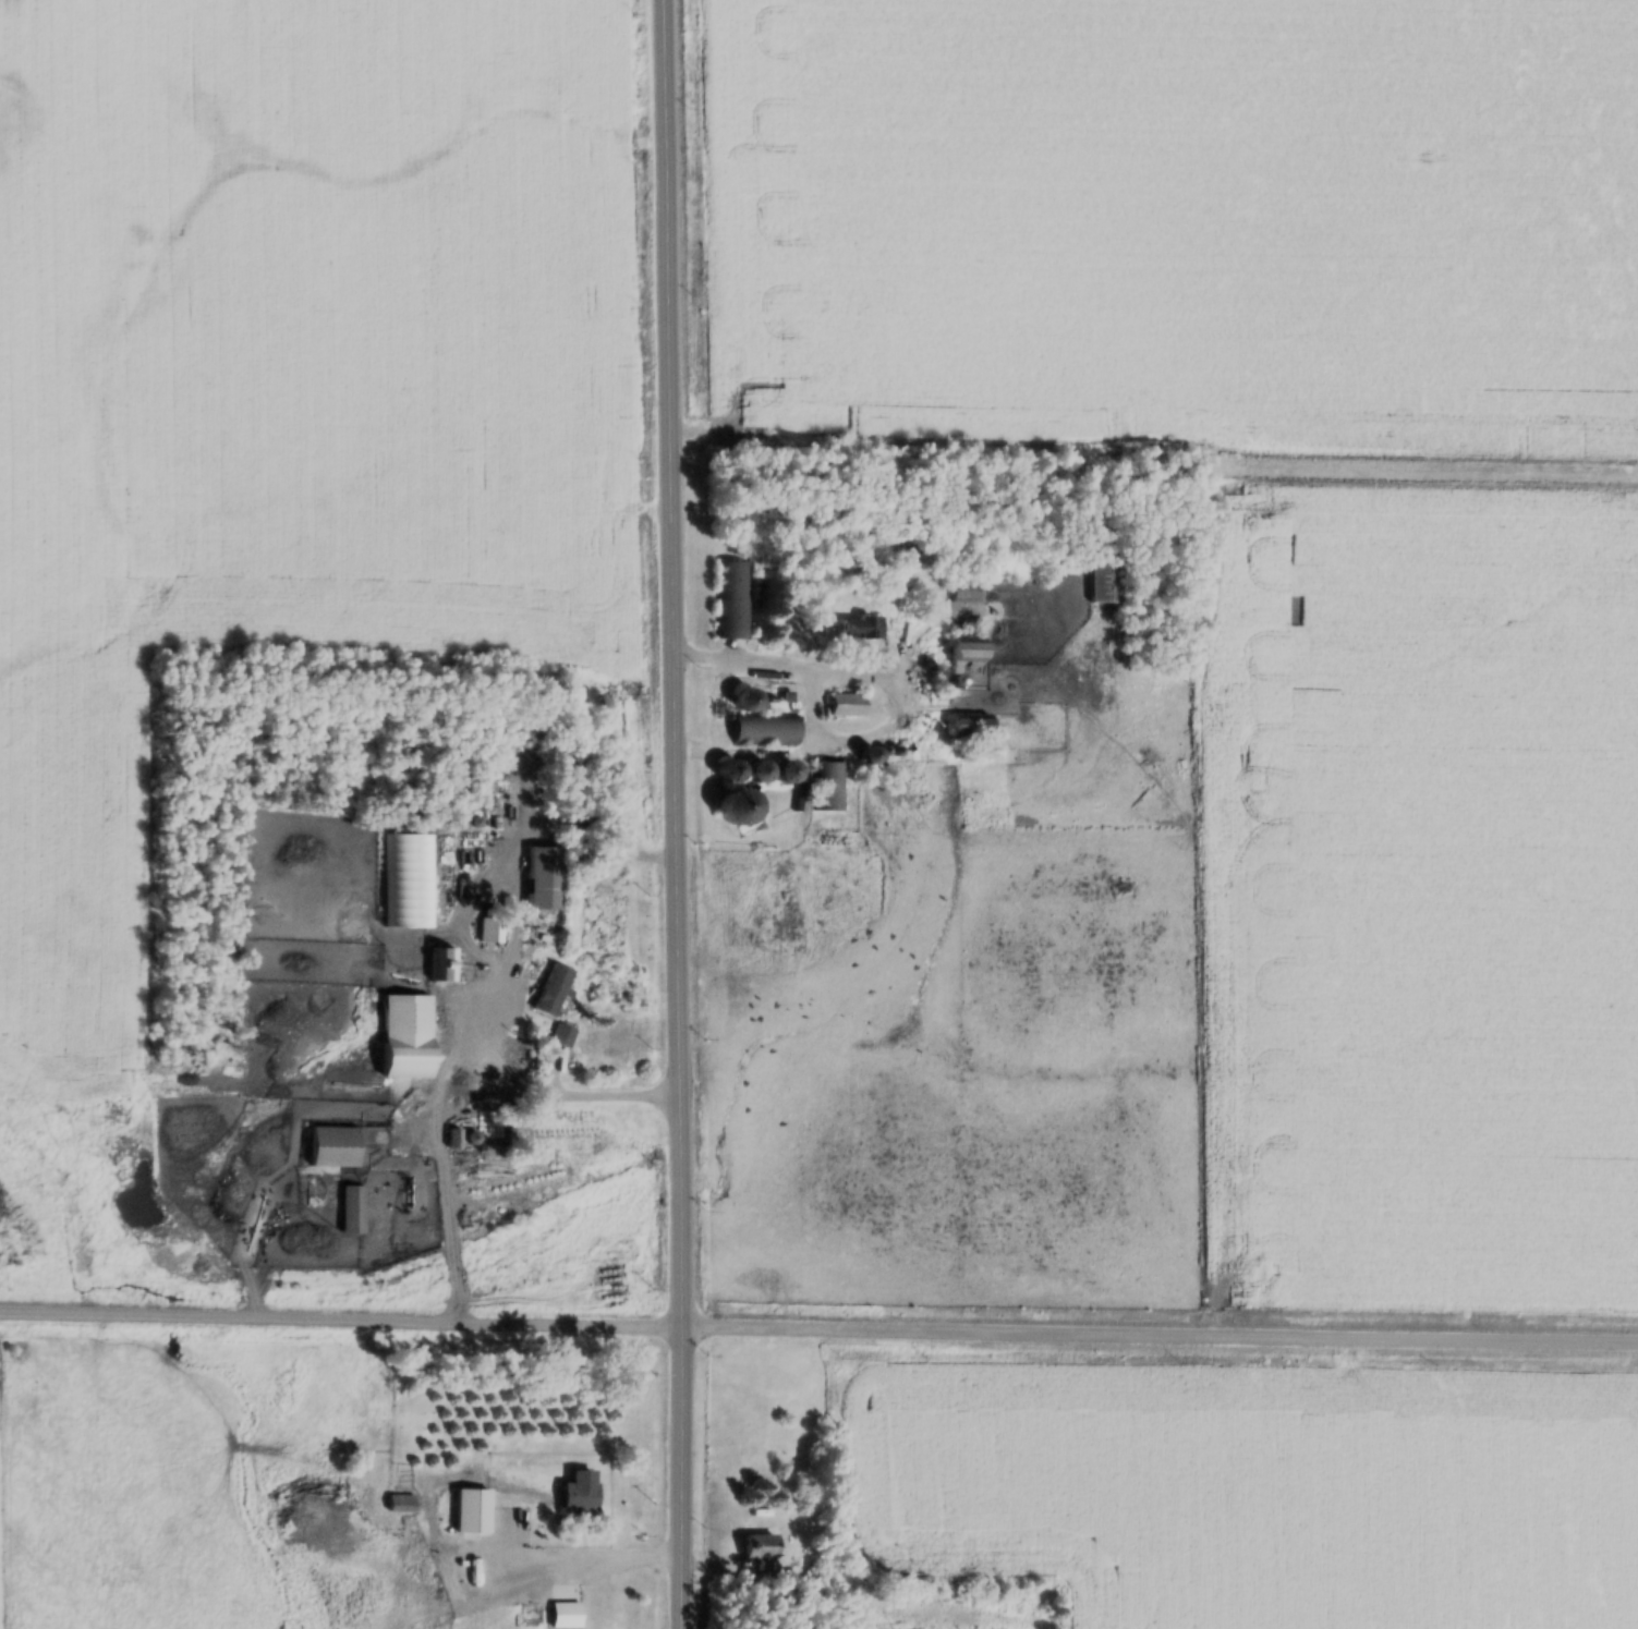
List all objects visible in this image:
building: (1108, 584)
building: (968, 592)
building: (731, 600)
building: (861, 628)
building: (751, 701)
building: (849, 706)
building: (973, 725)
building: (767, 730)
building: (735, 771)
building: (777, 771)
building: (828, 787)
building: (743, 806)
road: (679, 814)
building: (583, 853)
building: (546, 878)
building: (409, 880)
building: (489, 929)
building: (444, 963)
building: (555, 988)
building: (565, 1035)
building: (409, 1036)
road: (445, 1094)
building: (336, 1147)
road: (818, 1329)
building: (583, 1497)
building: (522, 1516)
building: (762, 1546)
road: (574, 1564)
building: (453, 1581)
building: (568, 1616)
building: (523, 1626)

